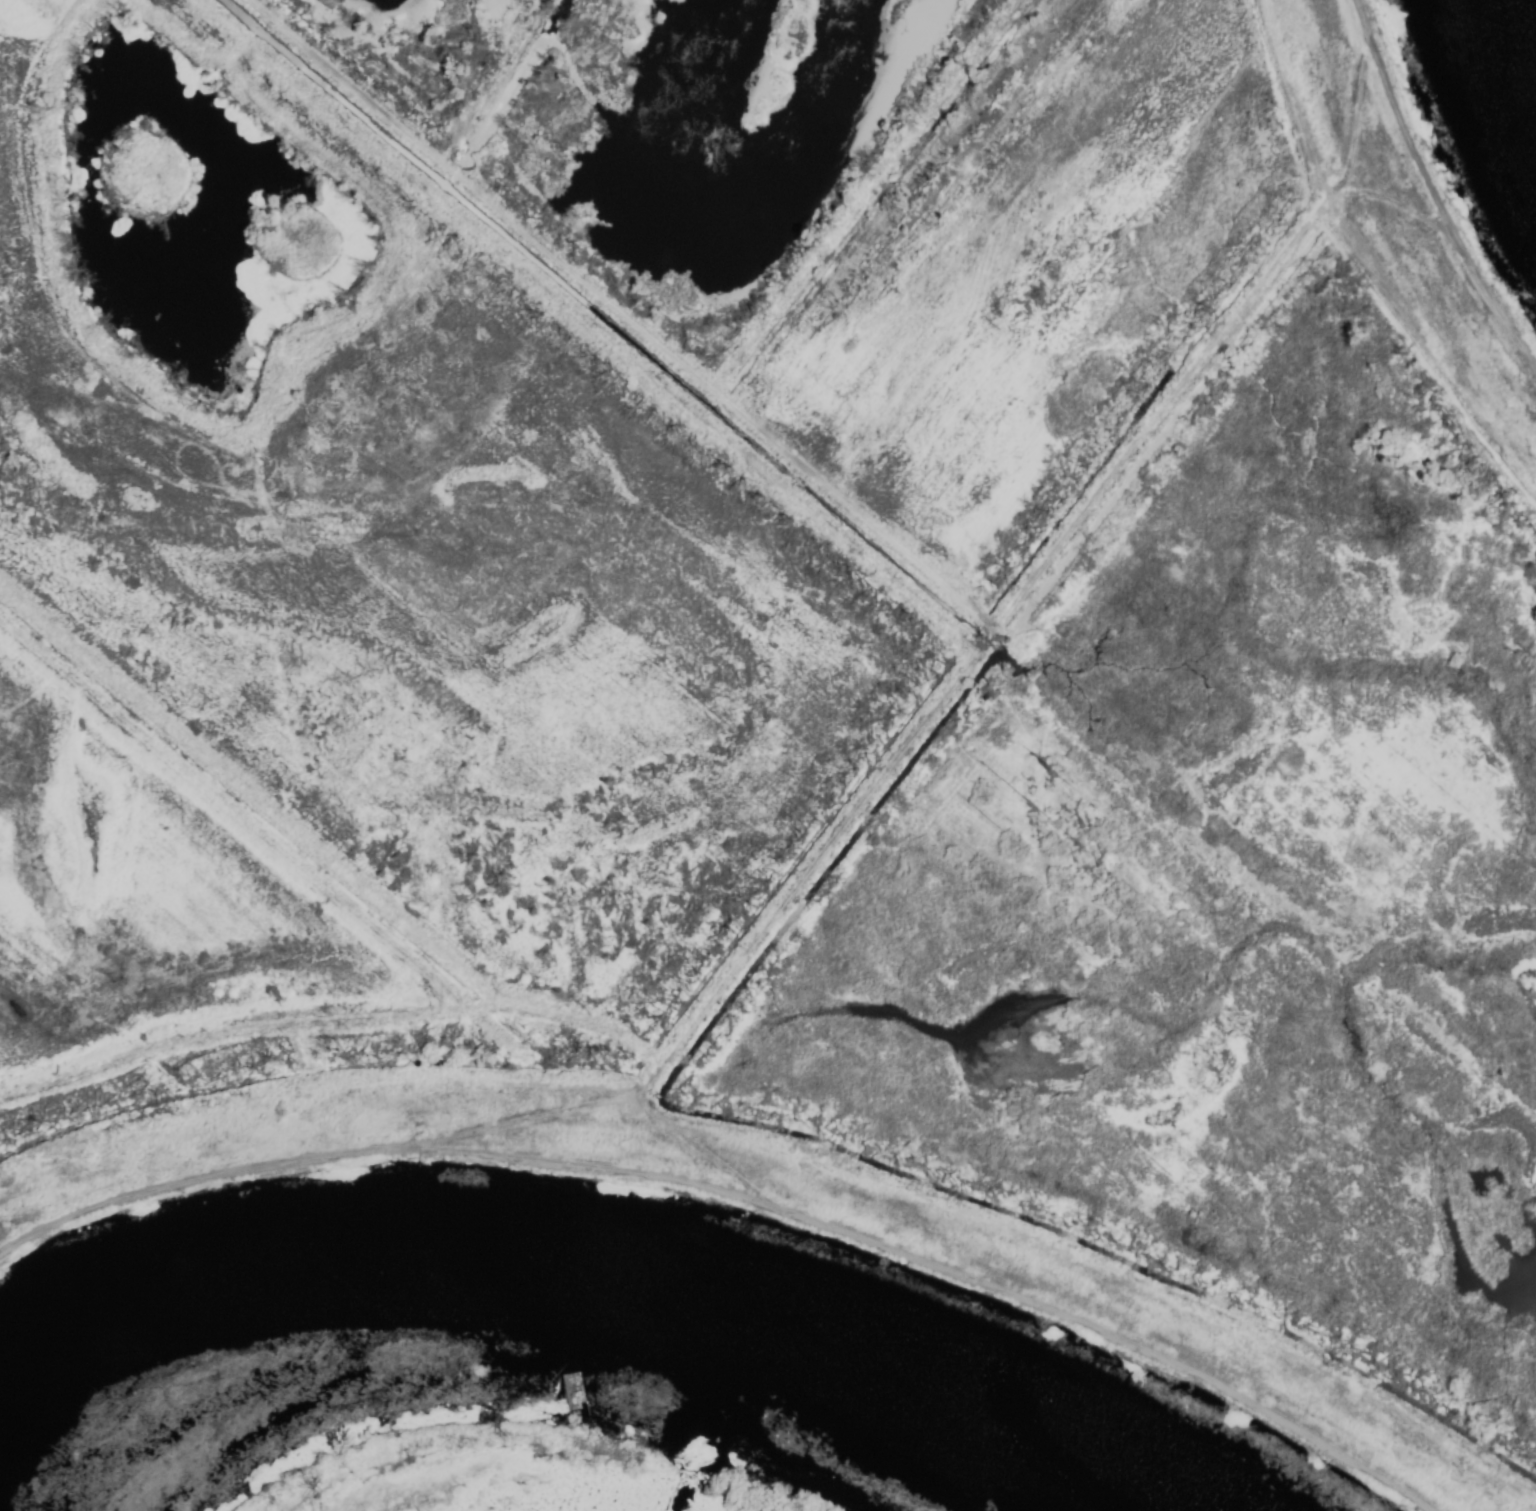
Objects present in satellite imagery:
crop: (806, 710)
river: (548, 1313)

